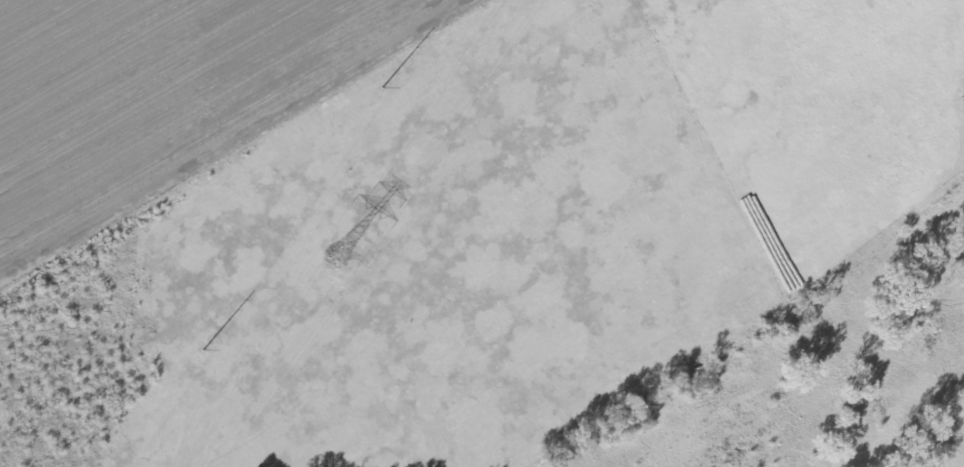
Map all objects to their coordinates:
power tower: (383, 88)
power tower: (334, 253)
power tower: (205, 349)

